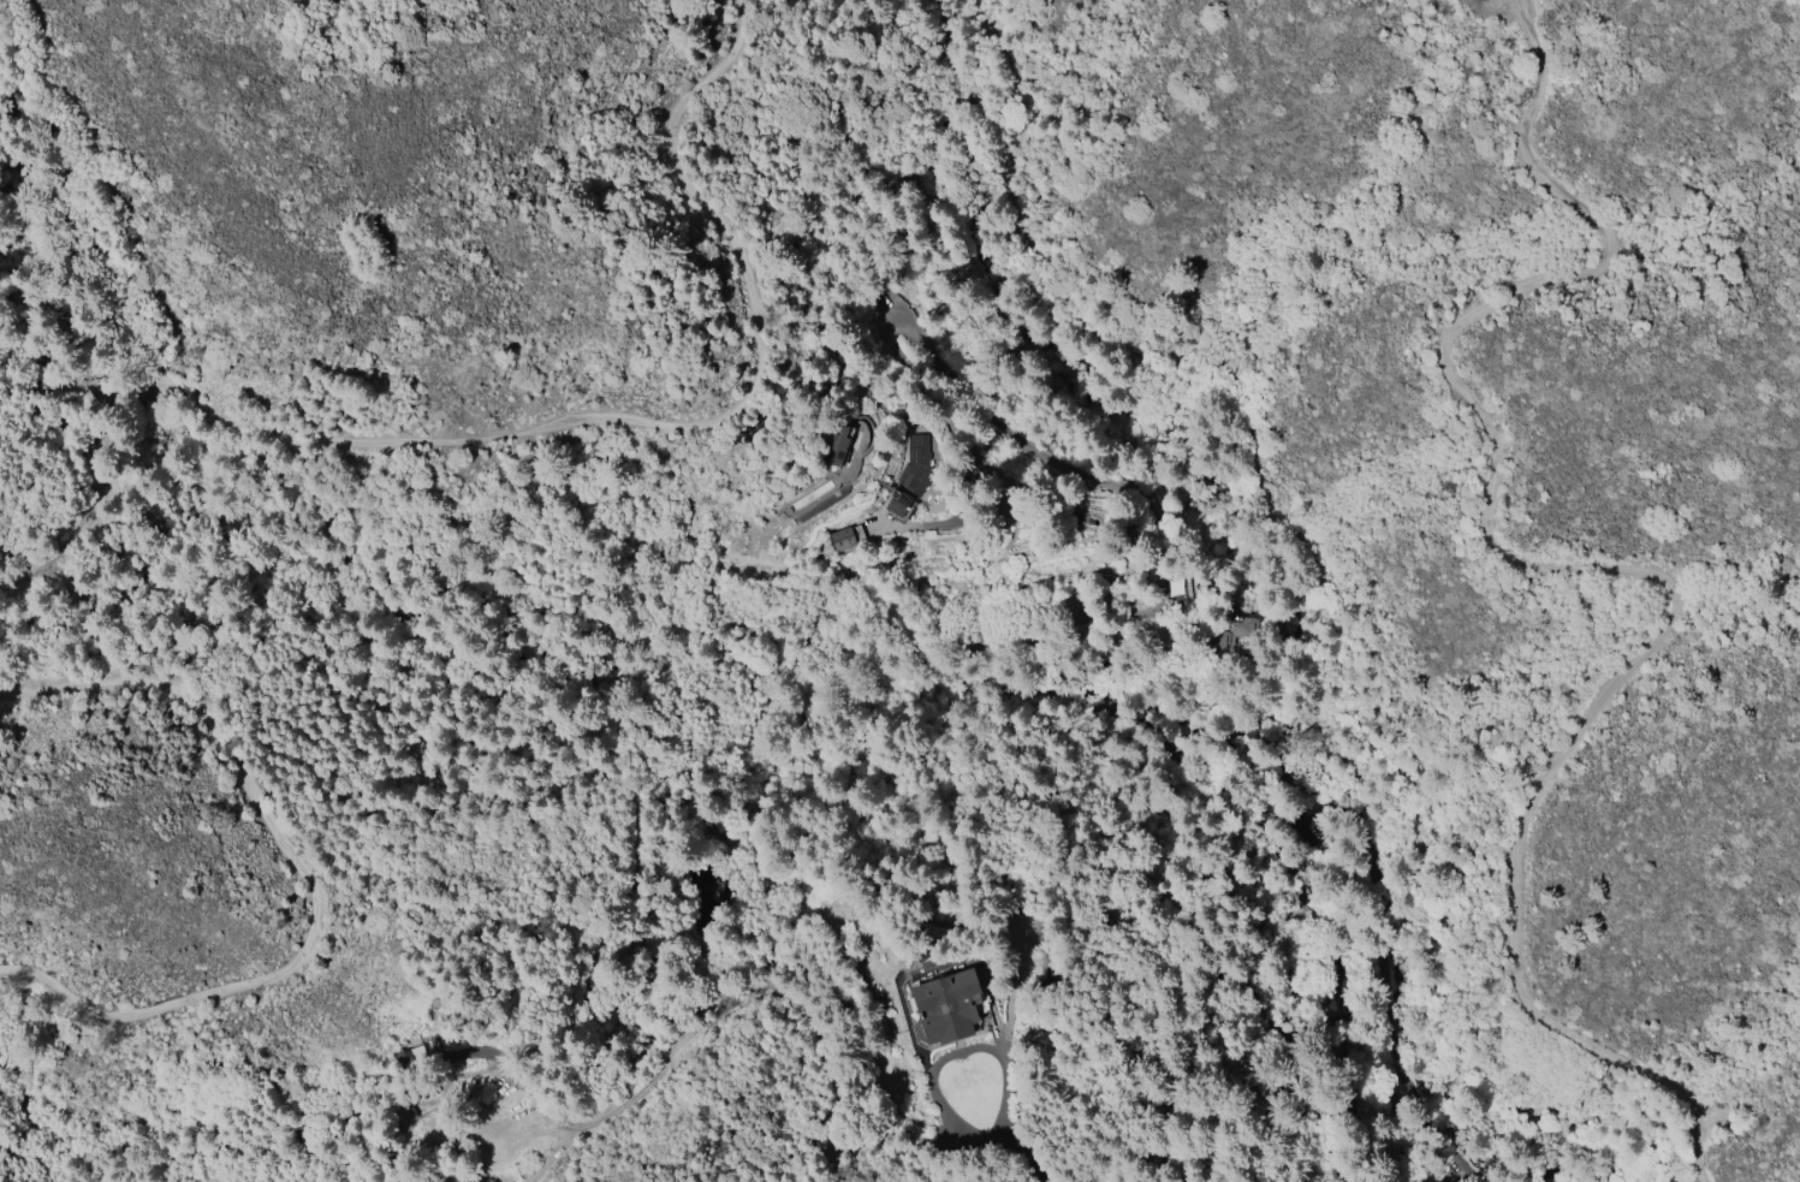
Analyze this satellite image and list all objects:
road: (754, 334)
road: (160, 380)
building: (842, 445)
building: (909, 479)
building: (842, 539)
road: (1605, 565)
road: (1306, 576)
road: (1308, 791)
road: (299, 873)
road: (1277, 934)
building: (1335, 972)
building: (945, 1006)
building: (1329, 1006)
road: (813, 1023)
road: (962, 1051)
road: (747, 1103)
road: (1015, 1162)
road: (1620, 1180)
building: (1421, 1181)

